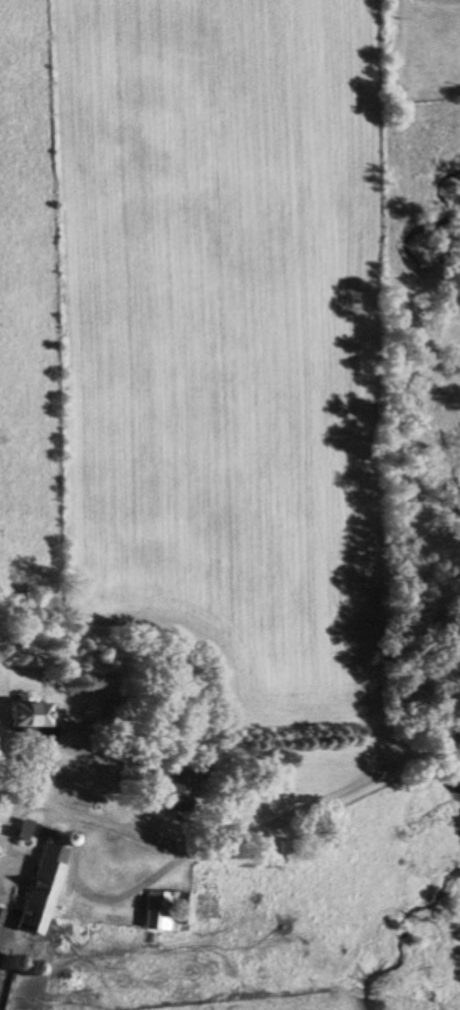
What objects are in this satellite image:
building: (22, 716)
road: (429, 755)
building: (169, 791)
building: (22, 833)
road: (196, 847)
building: (32, 898)
building: (184, 910)
building: (159, 911)

